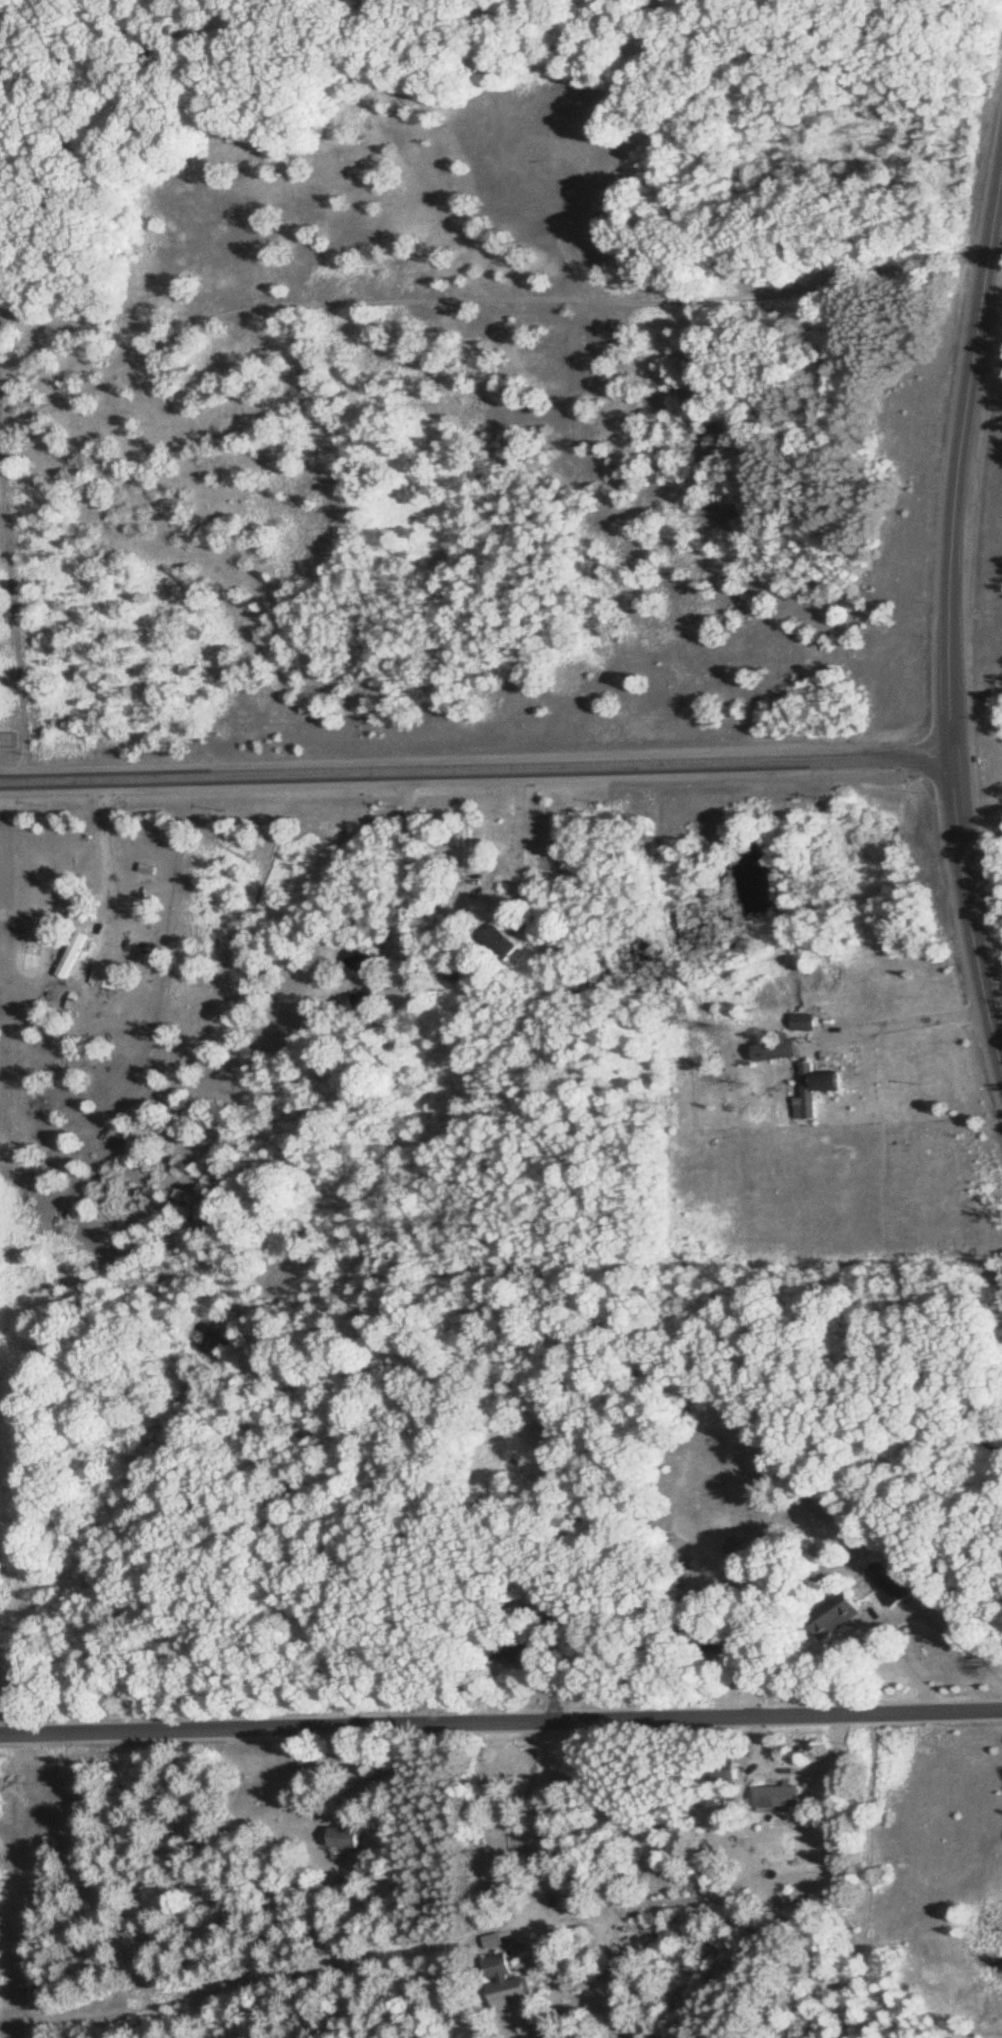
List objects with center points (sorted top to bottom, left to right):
road: (957, 470)
road: (527, 768)
road: (51, 780)
road: (104, 848)
building: (84, 859)
road: (971, 905)
building: (506, 942)
building: (74, 954)
building: (363, 960)
building: (105, 976)
building: (368, 998)
building: (809, 1021)
building: (782, 1048)
building: (834, 1079)
building: (812, 1089)
building: (901, 1590)
building: (836, 1611)
building: (734, 1642)
building: (520, 1651)
road: (500, 1717)
building: (727, 1771)
building: (784, 1796)
building: (348, 1838)
building: (519, 1850)
building: (496, 1939)
building: (508, 1983)

